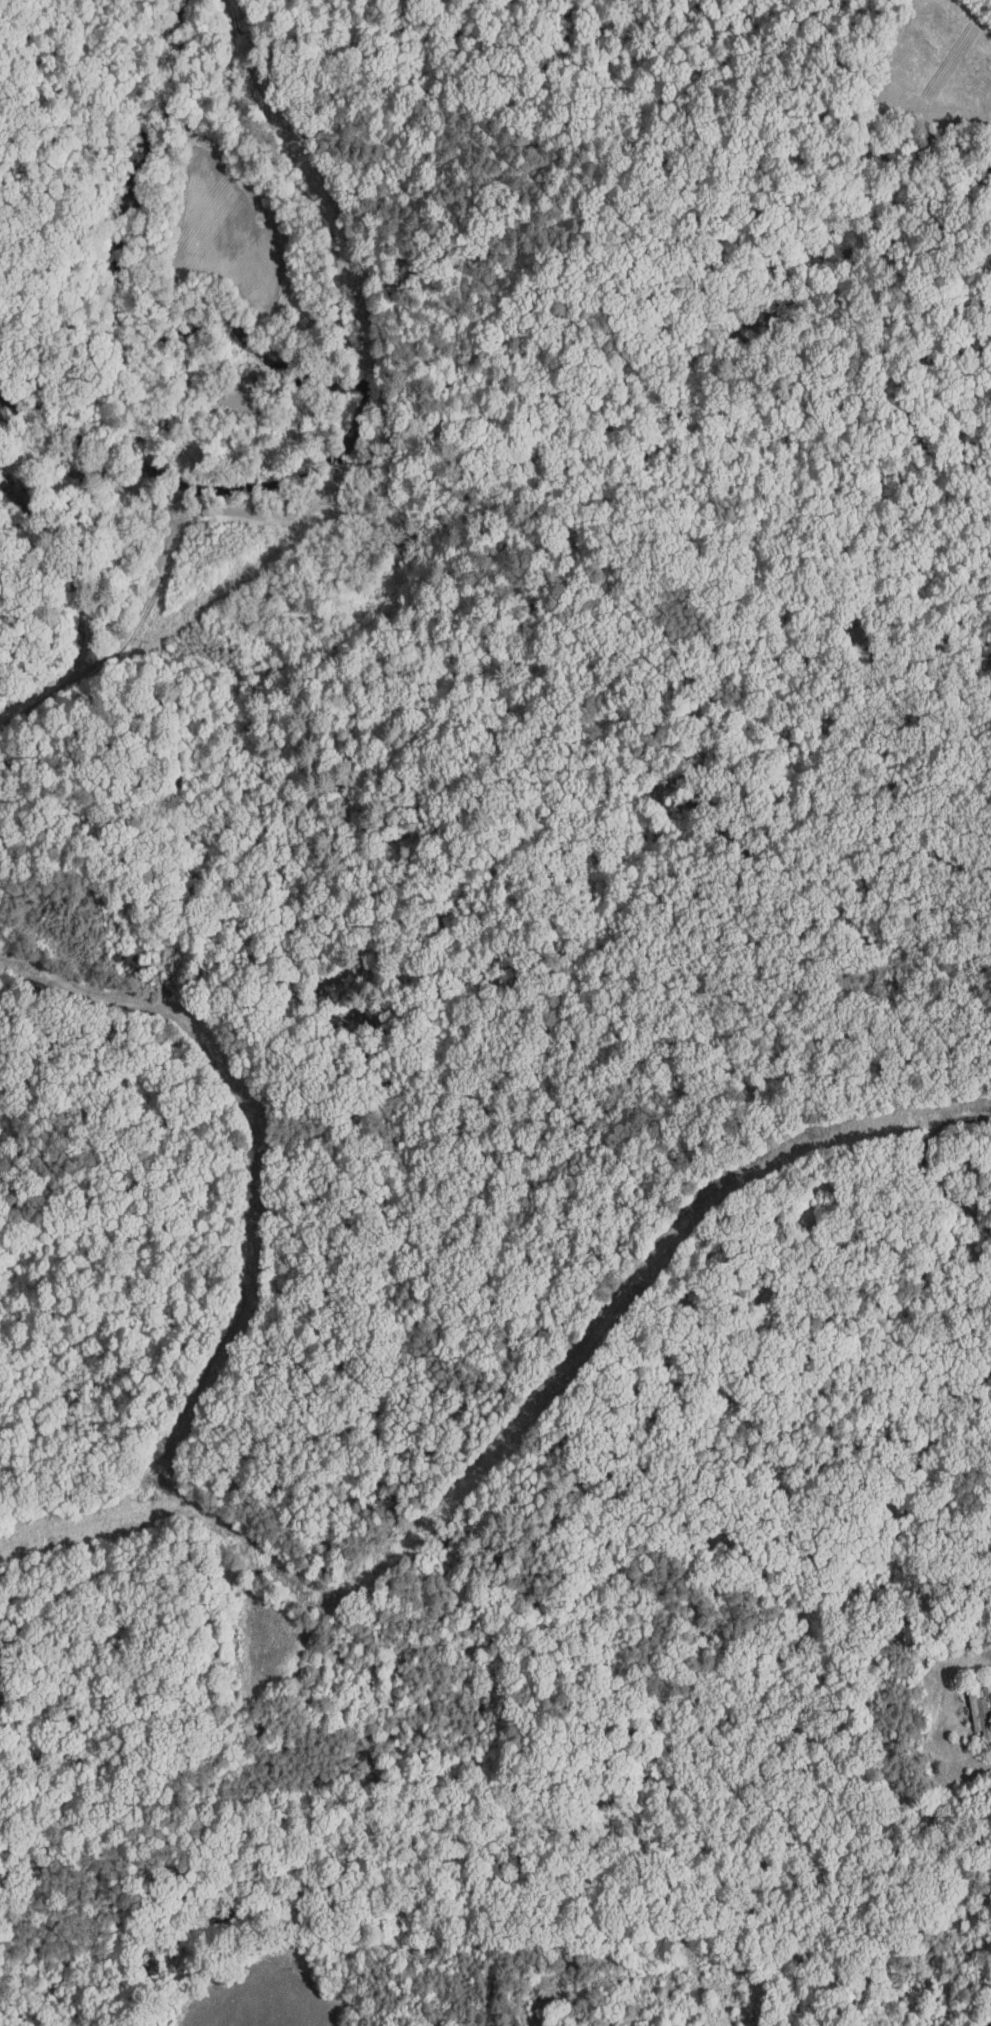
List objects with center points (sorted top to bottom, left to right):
building: (227, 394)
road: (367, 450)
road: (77, 985)
road: (926, 1162)
building: (968, 1709)

